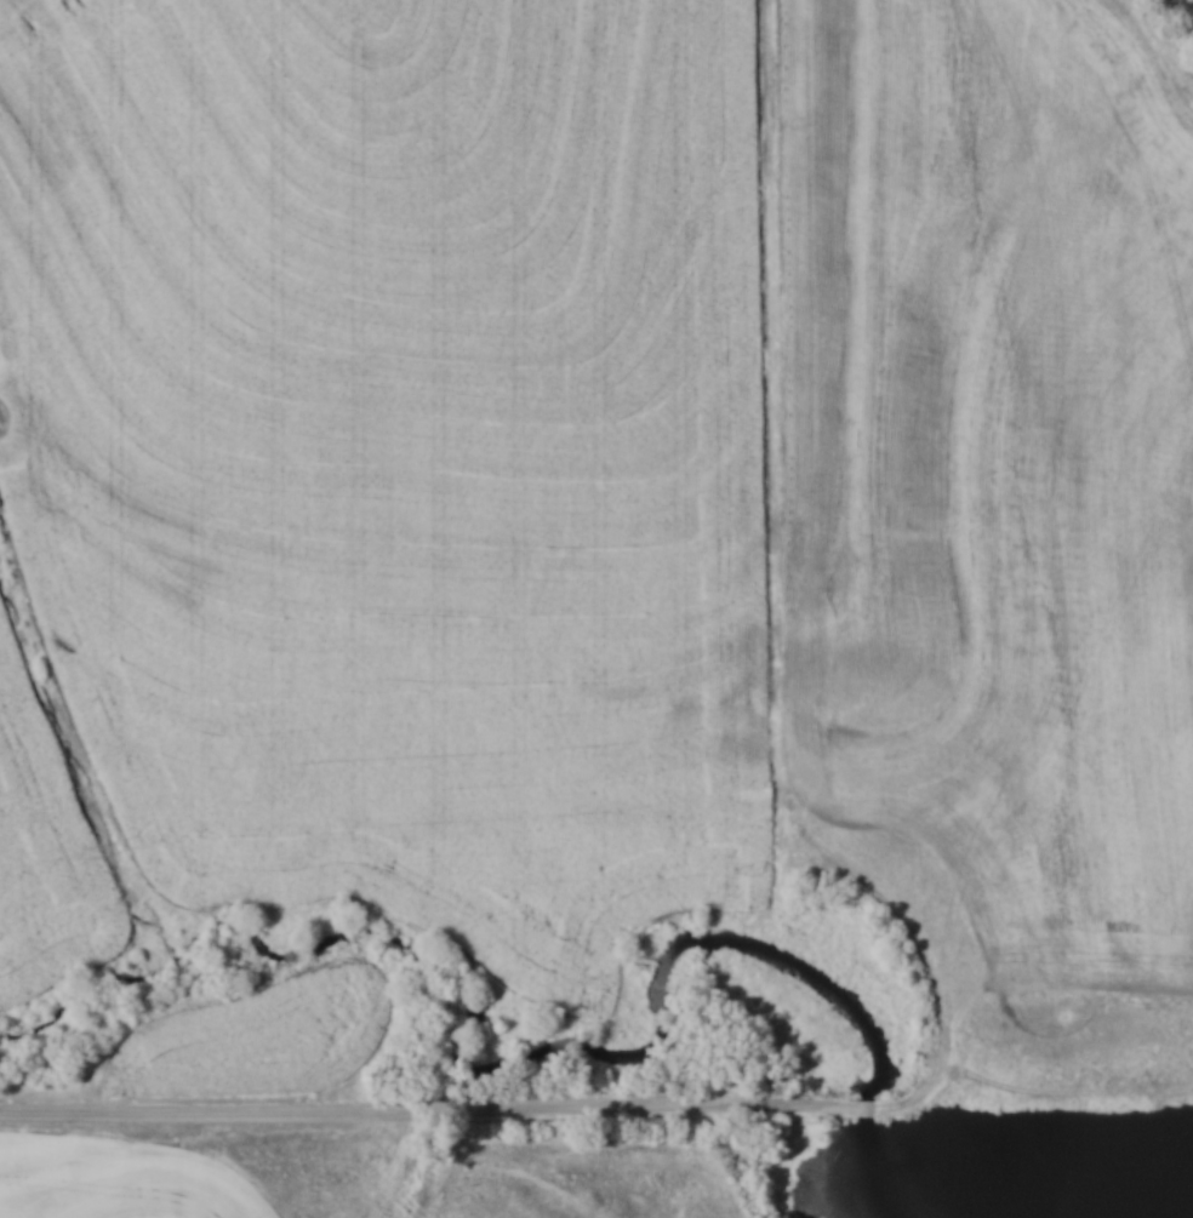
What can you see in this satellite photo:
road: (421, 1108)

